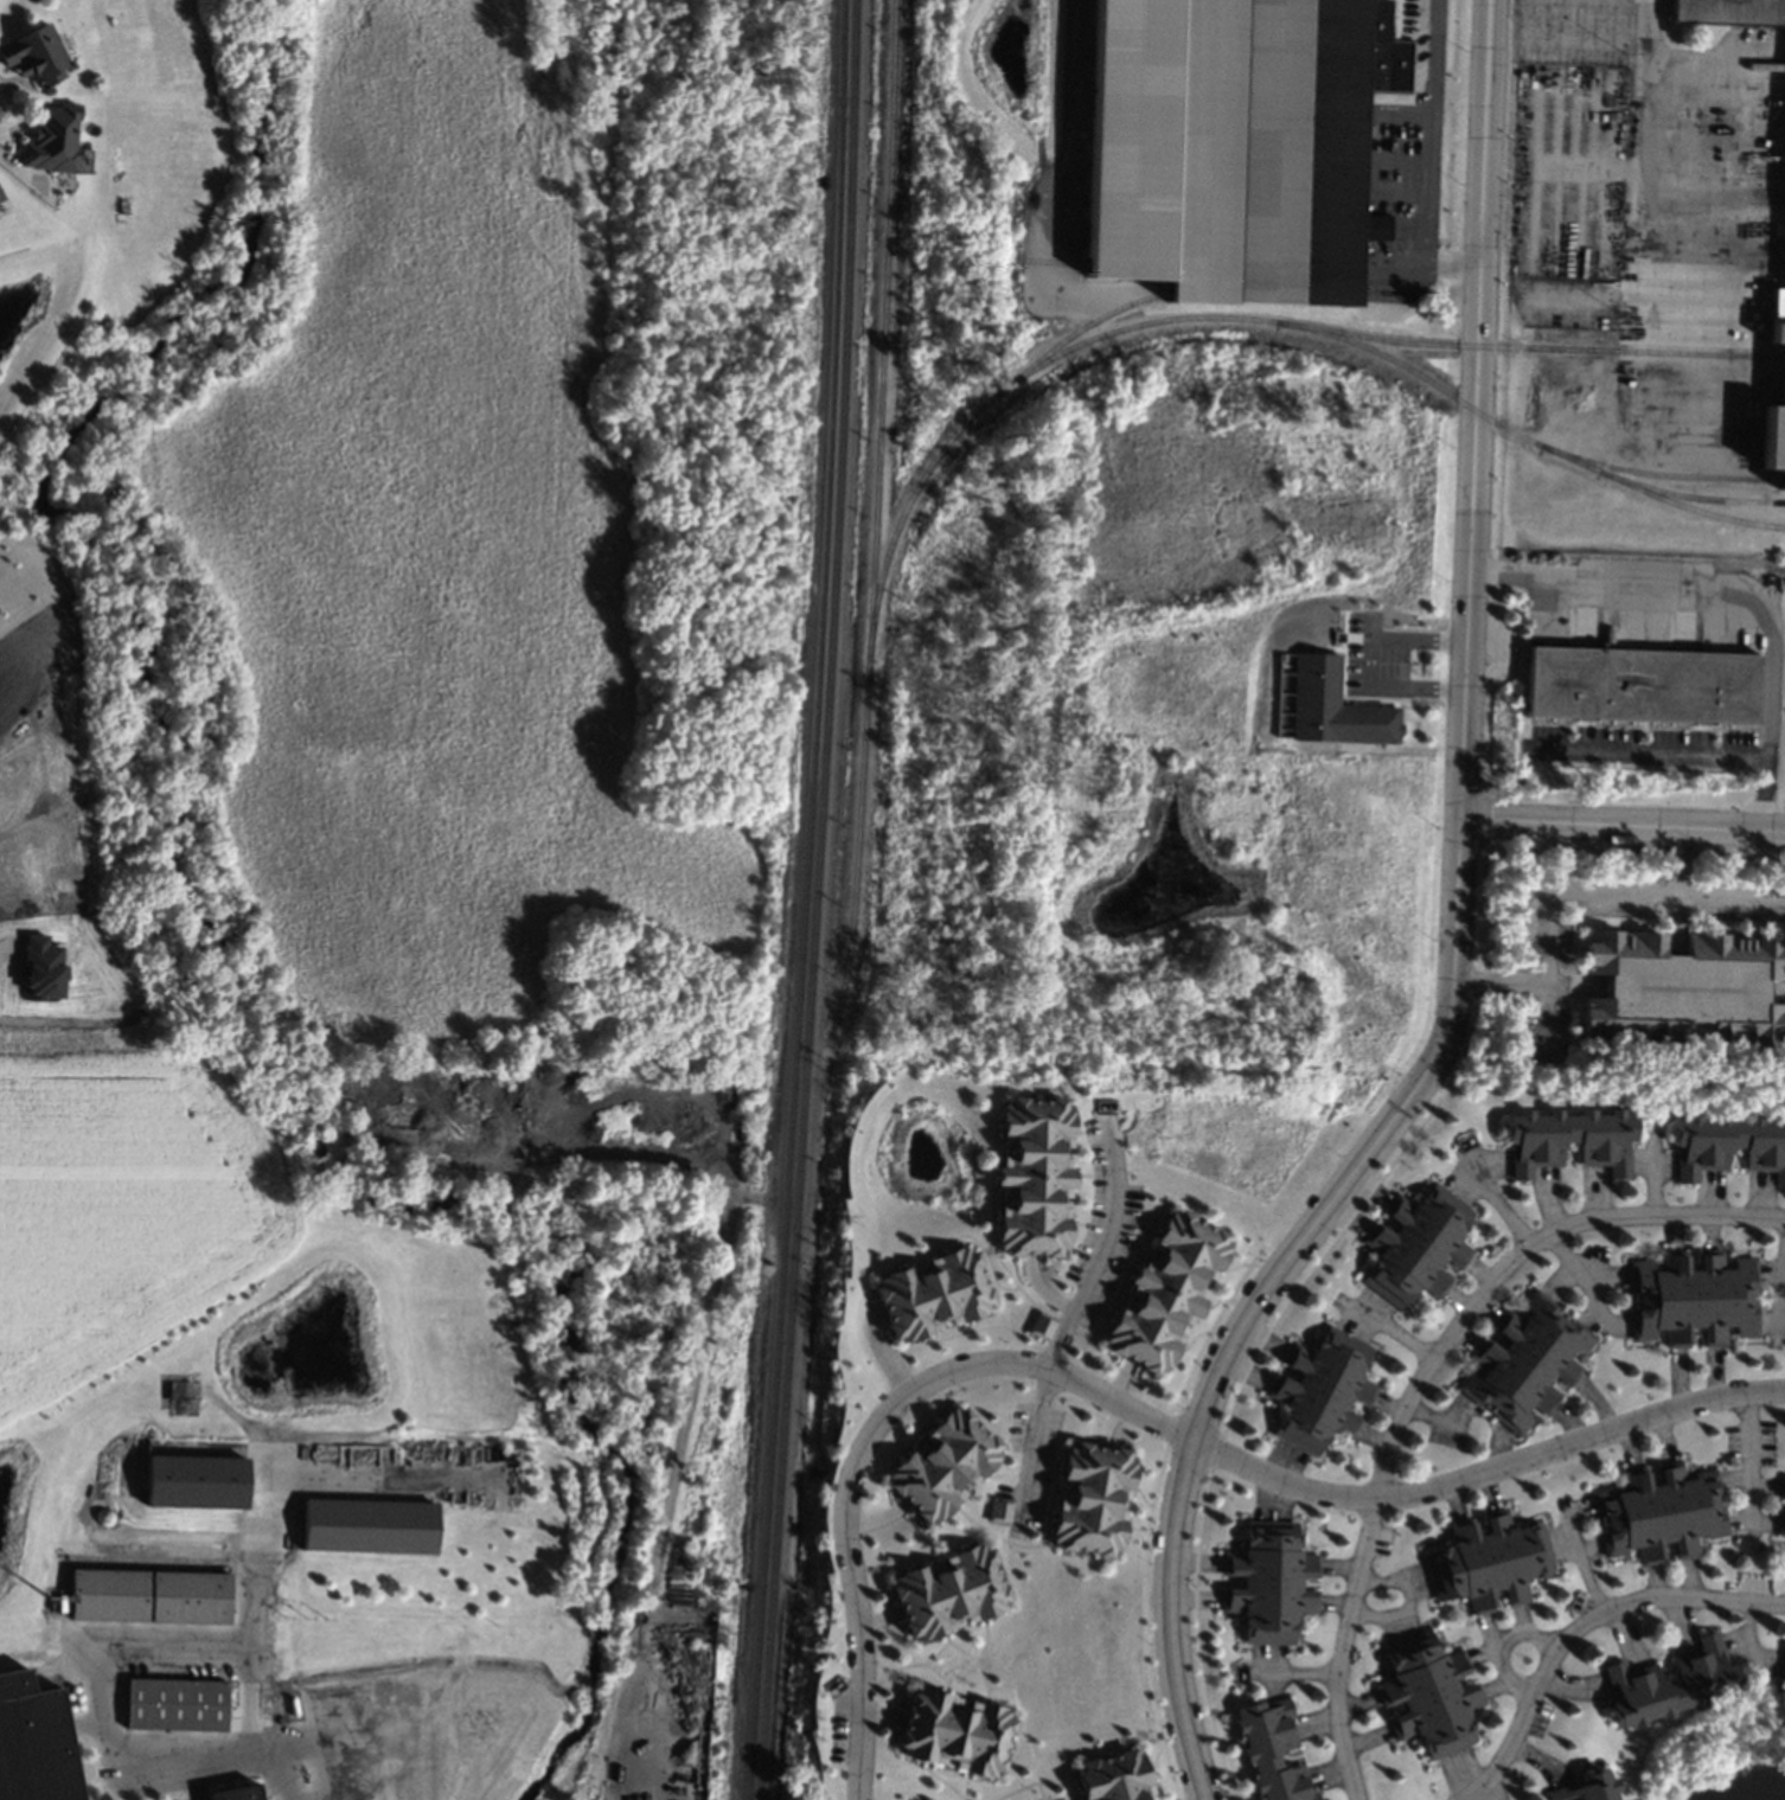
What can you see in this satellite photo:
building: (1729, 11)
railway: (908, 27)
building: (36, 55)
road: (1064, 122)
building: (53, 140)
building: (1234, 143)
road: (1419, 161)
road: (20, 172)
building: (1, 196)
road: (1688, 278)
railway: (1252, 319)
railway: (1073, 333)
railway: (1527, 347)
park: (36, 352)
building: (1783, 373)
railway: (1656, 475)
railway: (1689, 497)
park: (446, 504)
railway: (874, 512)
road: (1732, 587)
road: (1368, 660)
building: (1643, 685)
building: (1365, 724)
road: (1653, 756)
road: (43, 816)
road: (1623, 822)
road: (1560, 892)
road: (1728, 898)
railway: (802, 899)
railway: (814, 899)
road: (1455, 940)
building: (40, 968)
building: (1684, 989)
building: (1570, 1140)
building: (1729, 1144)
building: (1032, 1177)
road: (1498, 1200)
crop: (123, 1205)
building: (1418, 1245)
road: (1099, 1253)
road: (1591, 1283)
building: (1166, 1292)
building: (932, 1294)
building: (1695, 1299)
building: (1038, 1326)
road: (1389, 1327)
building: (1527, 1364)
road: (1421, 1379)
building: (1323, 1390)
building: (183, 1398)
road: (869, 1436)
road: (1031, 1442)
road: (1747, 1458)
building: (943, 1466)
road: (1487, 1474)
building: (197, 1481)
building: (1783, 1486)
building: (1093, 1499)
building: (999, 1508)
building: (1658, 1513)
building: (369, 1524)
building: (1781, 1524)
building: (1490, 1561)
building: (1269, 1582)
building: (949, 1594)
building: (151, 1596)
building: (62, 1604)
road: (1580, 1627)
road: (1499, 1644)
building: (1670, 1685)
building: (1781, 1685)
building: (1429, 1695)
building: (177, 1704)
building: (282, 1719)
building: (955, 1732)
building: (34, 1742)
building: (1273, 1750)
building: (1114, 1777)
road: (287, 1782)
building: (1586, 1788)
building: (235, 1792)
road: (1498, 1792)

